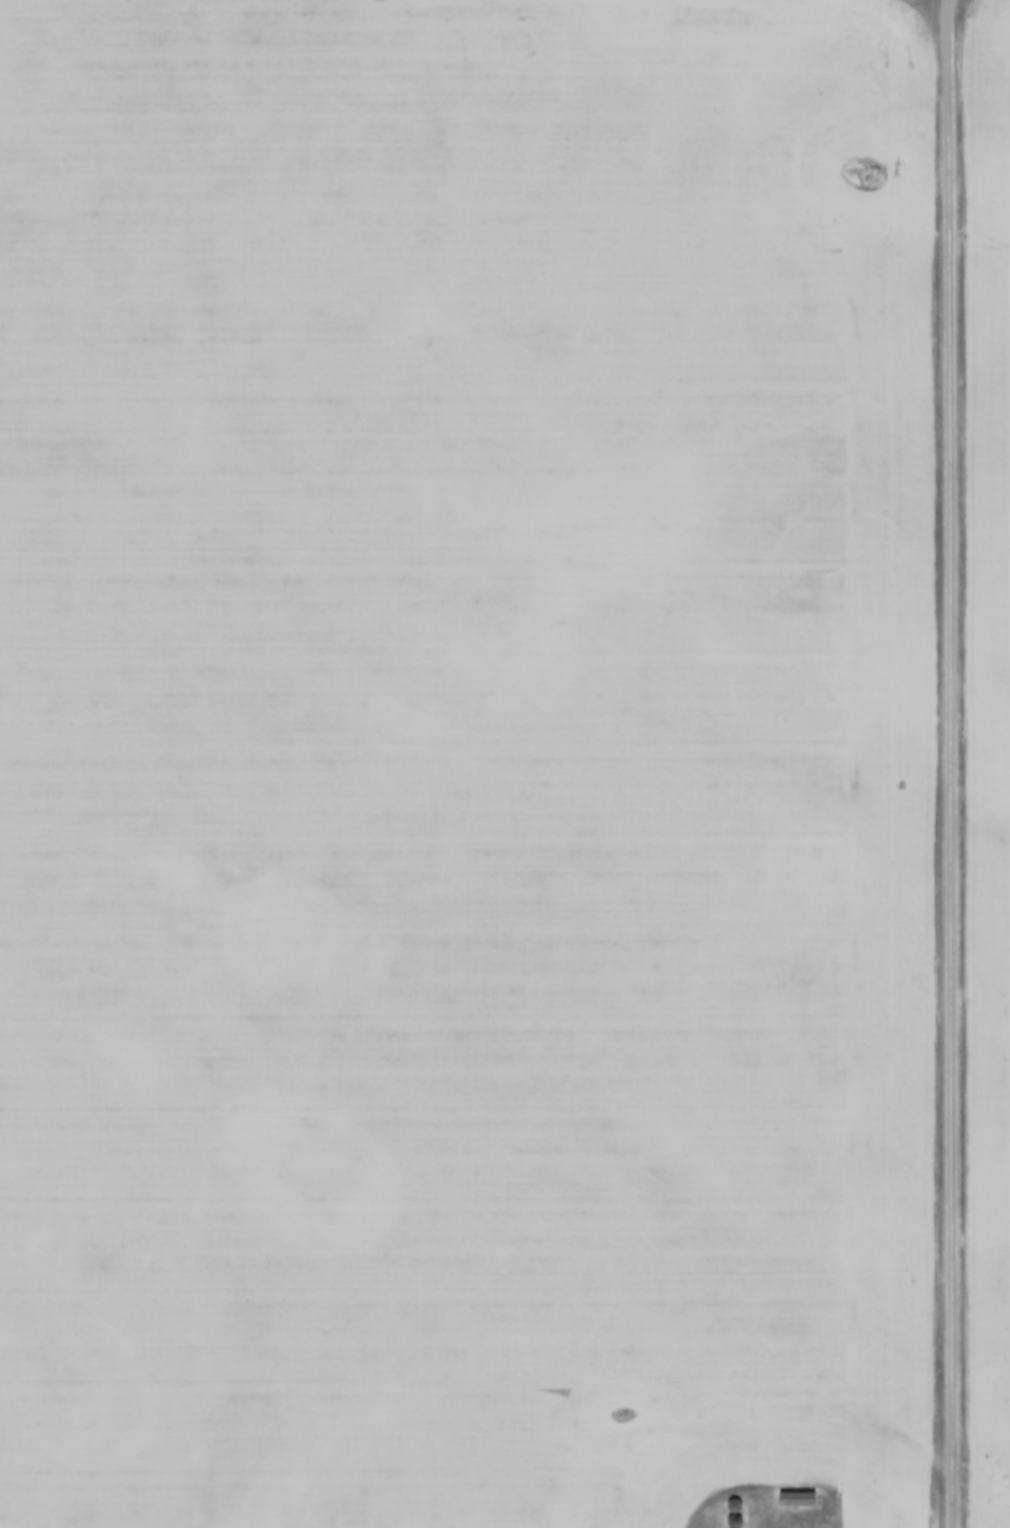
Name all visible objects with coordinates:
road: (949, 763)
building: (798, 1499)
building: (734, 1514)

